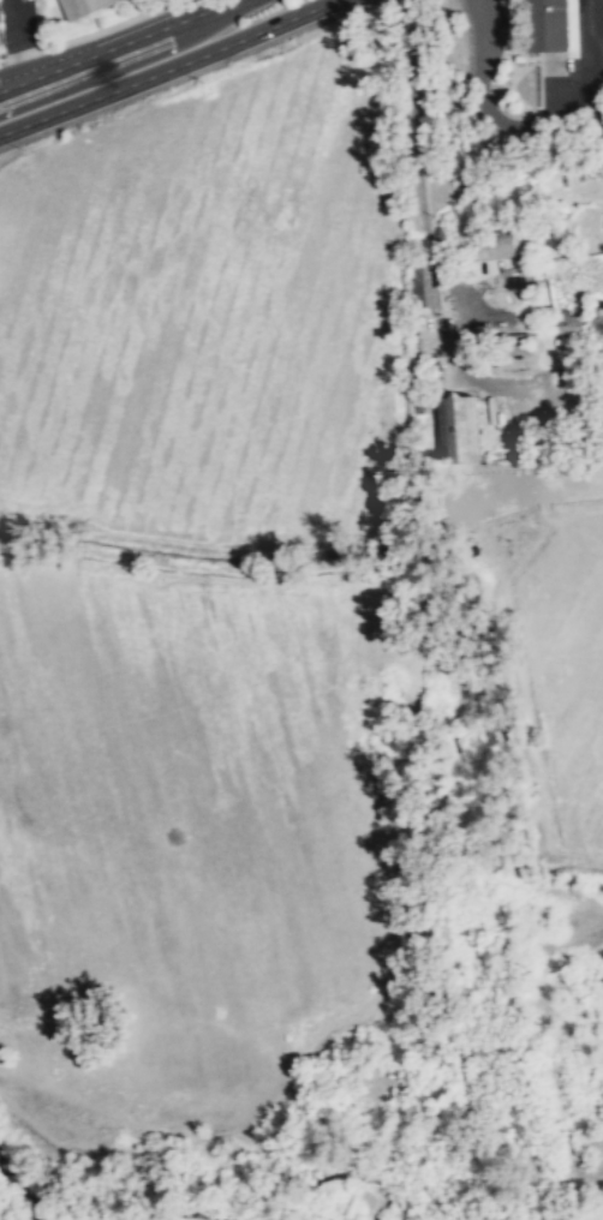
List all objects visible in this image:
building: (83, 6)
building: (547, 25)
road: (19, 38)
road: (112, 43)
road: (165, 65)
road: (436, 195)
building: (496, 245)
building: (425, 283)
building: (567, 325)
building: (509, 343)
road: (545, 375)
building: (458, 429)
crop: (559, 647)
park: (585, 1207)

